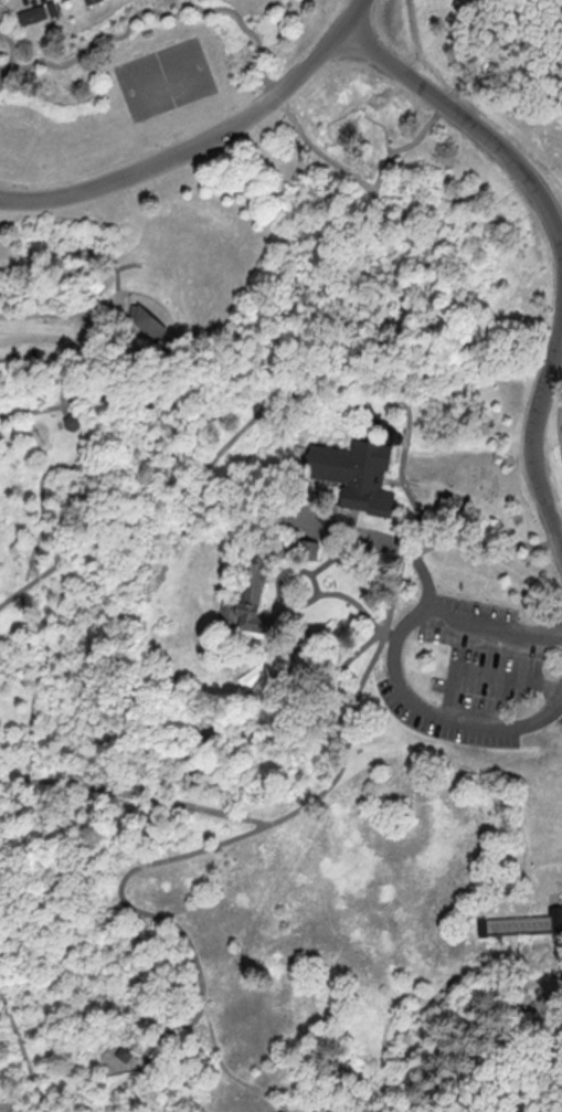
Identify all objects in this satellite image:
building: (88, 1)
road: (362, 2)
road: (3, 4)
road: (30, 4)
building: (51, 8)
building: (31, 14)
road: (6, 66)
road: (265, 75)
road: (2, 77)
park: (165, 80)
road: (457, 87)
road: (362, 113)
road: (471, 126)
road: (327, 127)
road: (204, 140)
road: (388, 147)
road: (125, 265)
road: (112, 284)
road: (84, 318)
building: (148, 324)
parking lot: (40, 338)
road: (40, 338)
road: (308, 399)
road: (63, 410)
road: (307, 413)
road: (212, 416)
building: (71, 421)
road: (303, 432)
road: (558, 432)
road: (53, 437)
road: (406, 438)
road: (533, 441)
building: (354, 474)
road: (390, 481)
road: (146, 510)
road: (559, 527)
road: (380, 538)
road: (39, 539)
road: (406, 539)
park: (276, 543)
road: (344, 562)
road: (322, 564)
road: (278, 565)
road: (273, 580)
road: (280, 584)
building: (250, 595)
road: (353, 602)
road: (271, 606)
road: (29, 616)
road: (391, 632)
road: (393, 663)
parking lot: (476, 675)
road: (484, 675)
road: (117, 687)
road: (300, 690)
road: (36, 698)
road: (29, 764)
road: (29, 775)
road: (252, 818)
road: (554, 897)
road: (147, 911)
building: (521, 924)
road: (406, 1013)
road: (22, 1050)
building: (127, 1052)
park: (481, 1068)
road: (227, 1069)
road: (127, 1077)
road: (550, 1106)

